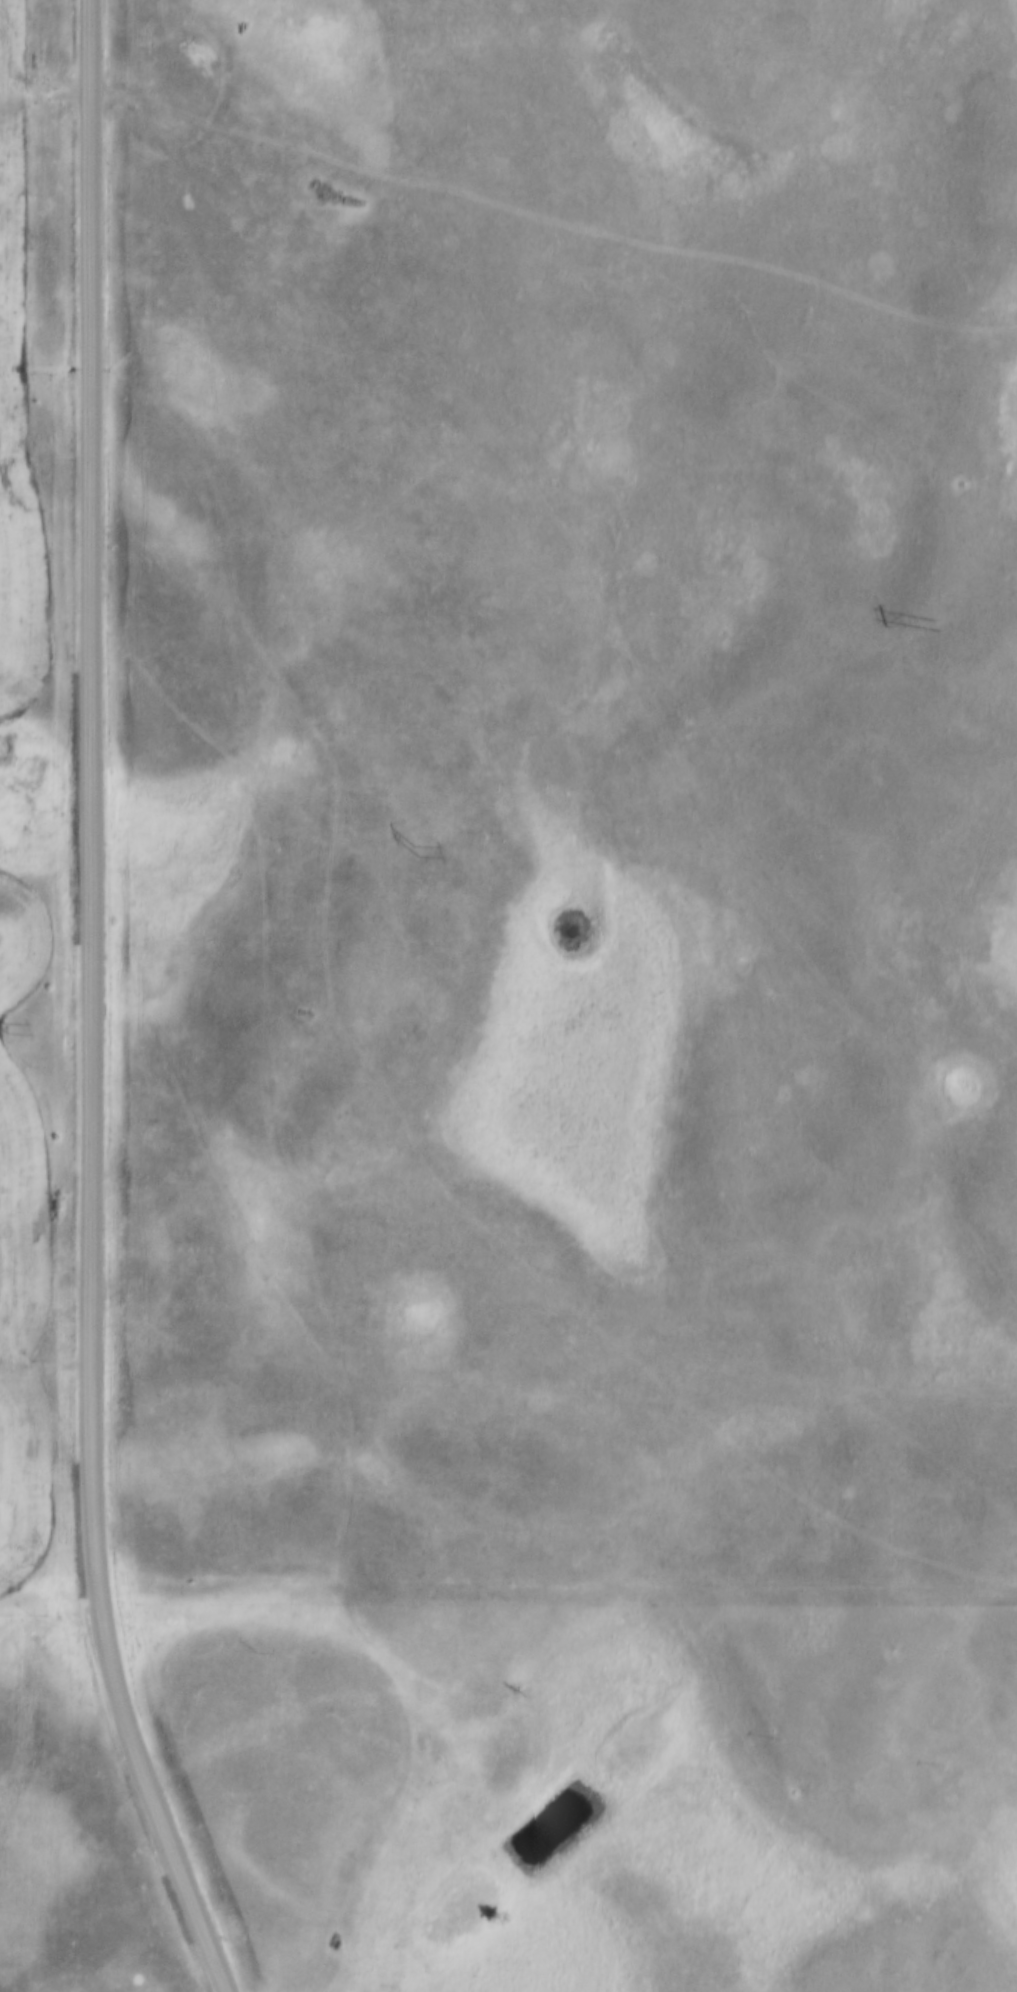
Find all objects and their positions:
power tower: (940, 625)
power tower: (415, 851)
road: (89, 1006)
power tower: (5, 1028)

